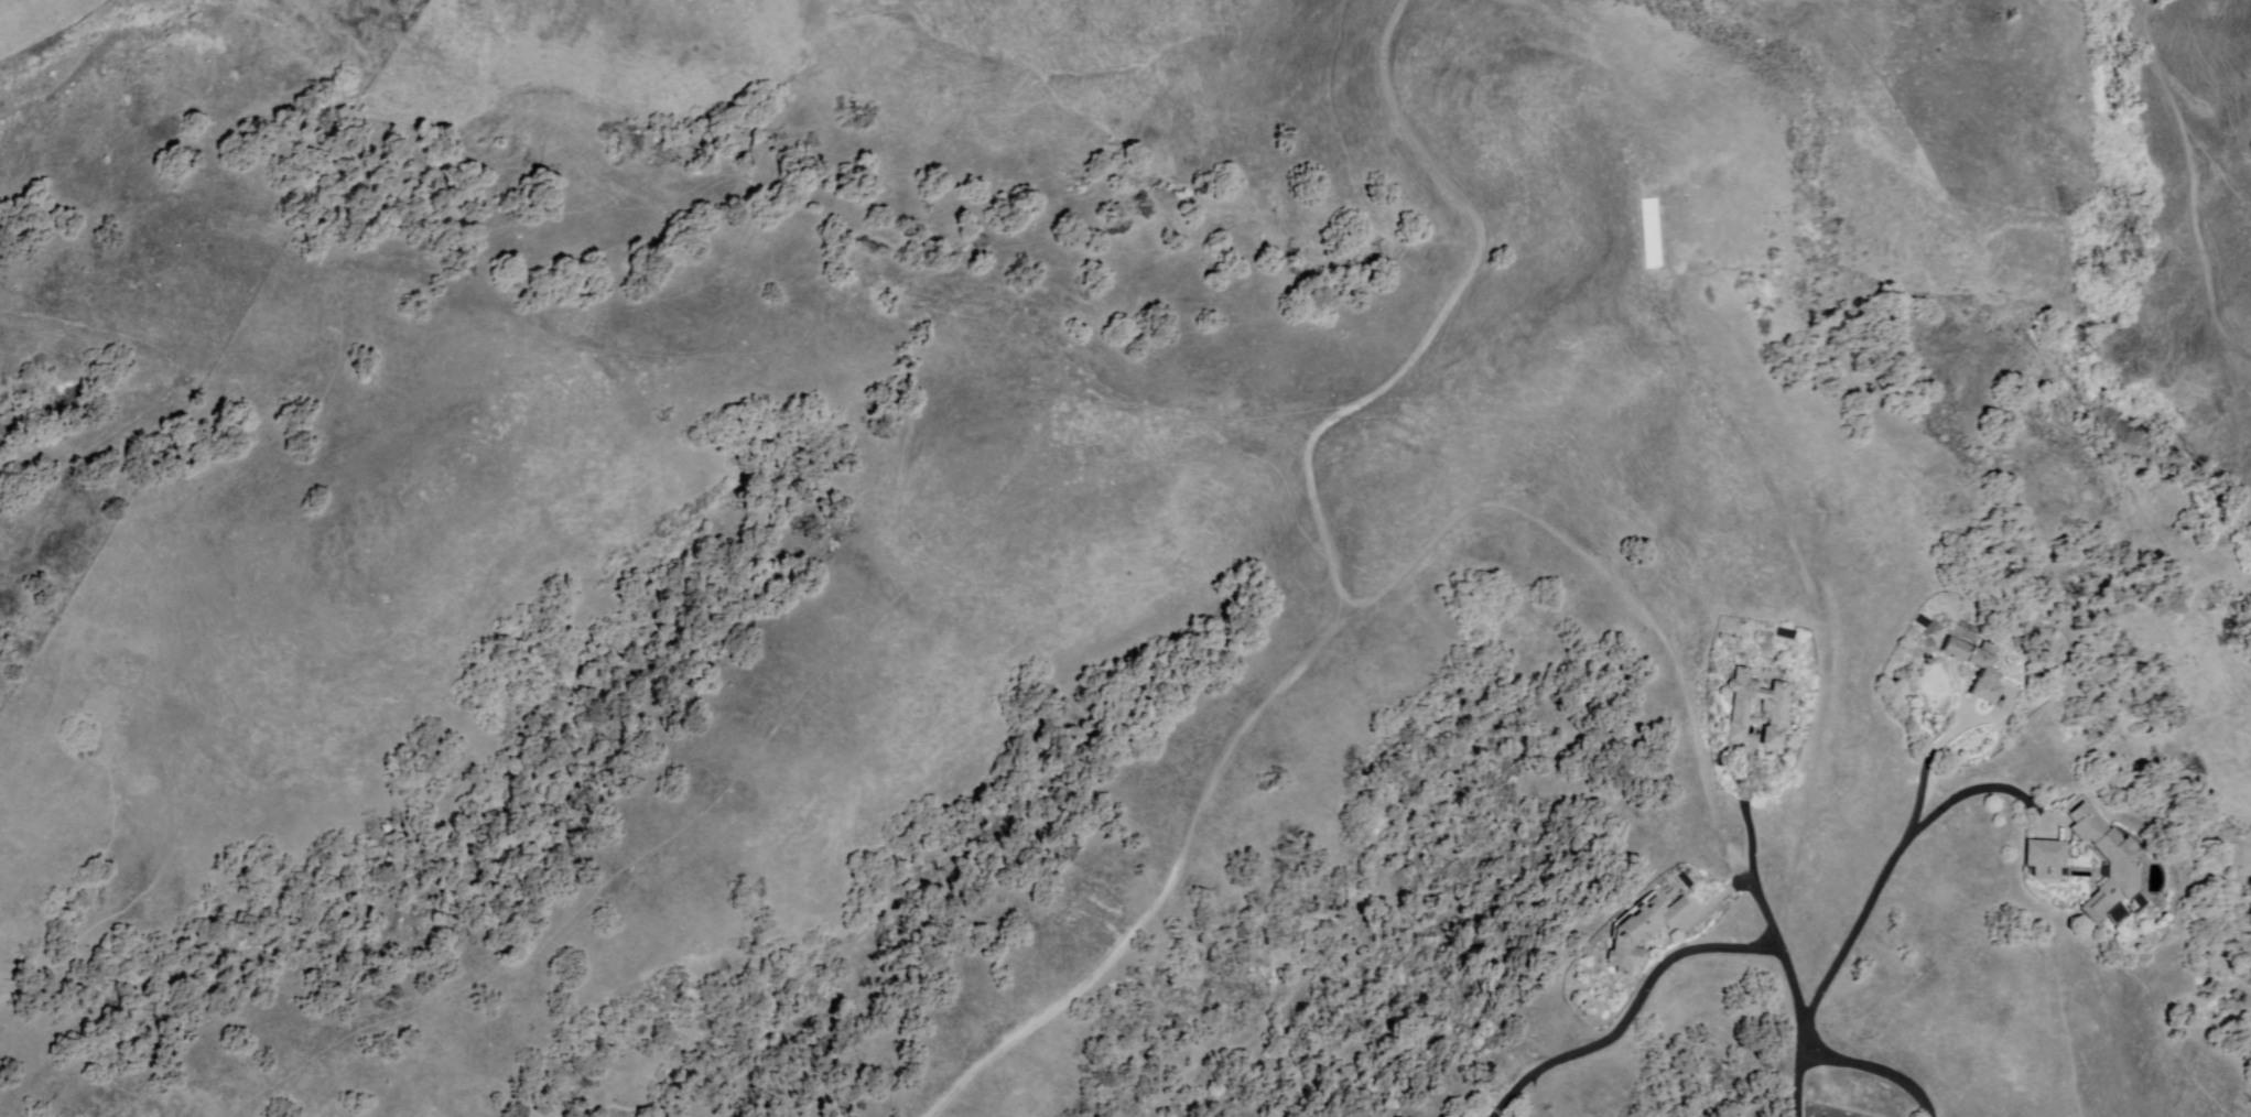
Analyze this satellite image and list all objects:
road: (2192, 182)
road: (1448, 316)
road: (1345, 619)
building: (1974, 669)
building: (1773, 708)
road: (1929, 766)
road: (1976, 794)
road: (1752, 847)
building: (2045, 860)
building: (2109, 868)
road: (1860, 926)
building: (1641, 934)
road: (1634, 1013)
road: (1805, 1030)
road: (1800, 1082)

